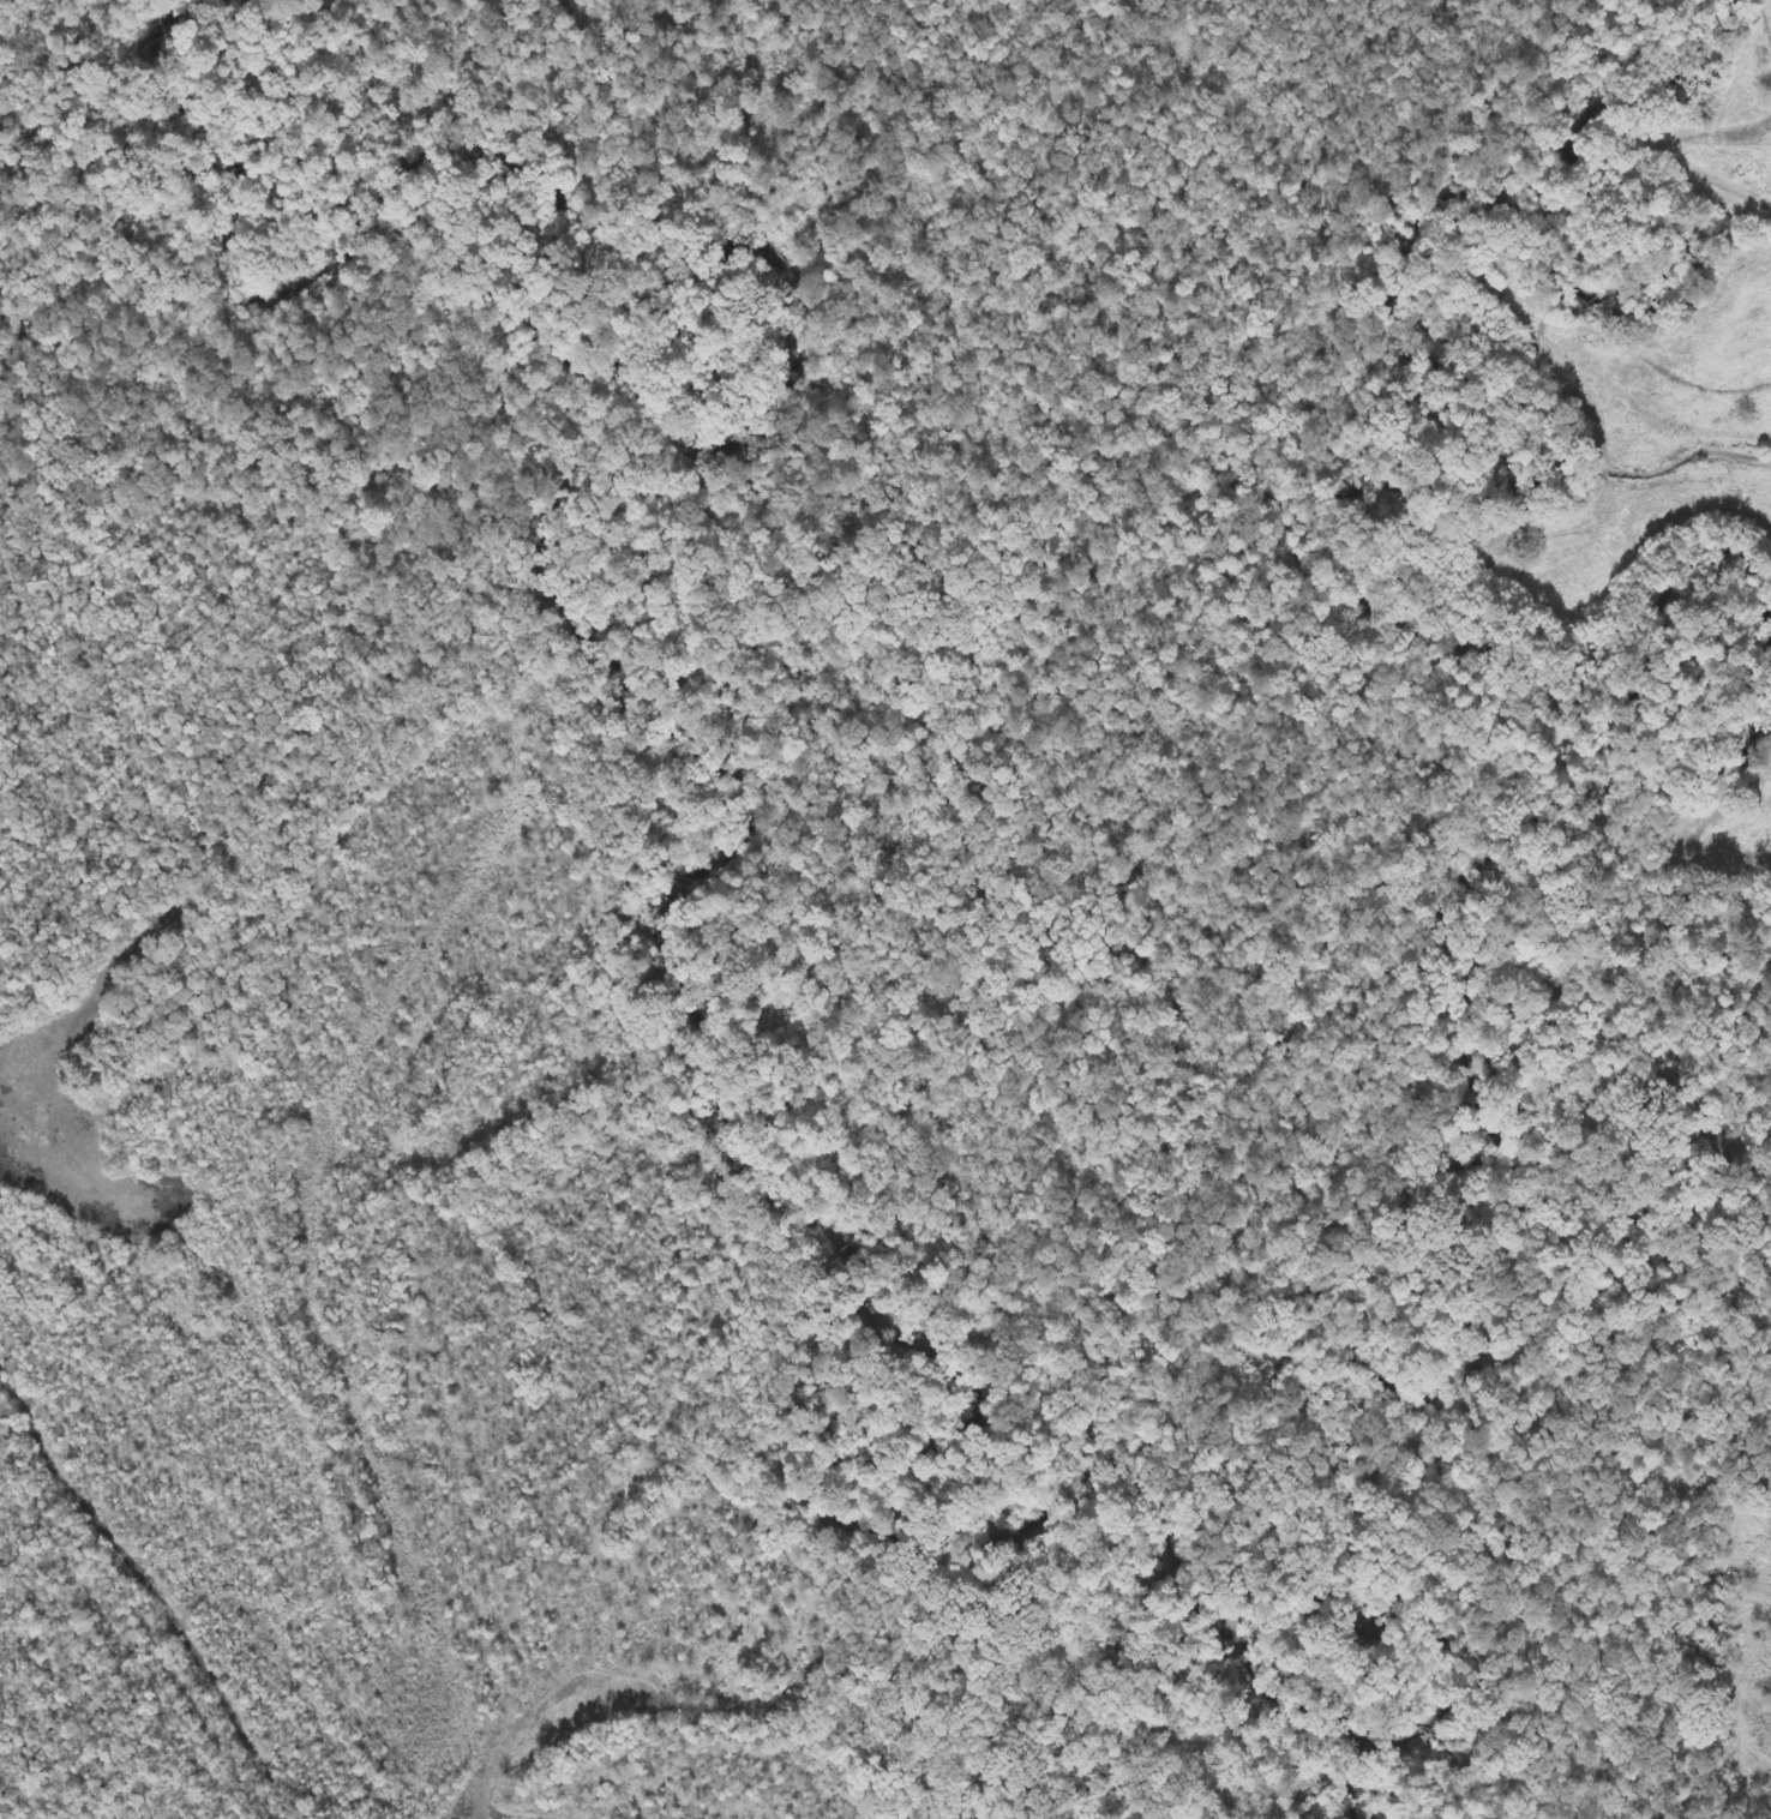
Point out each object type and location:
river: (1339, 1788)

